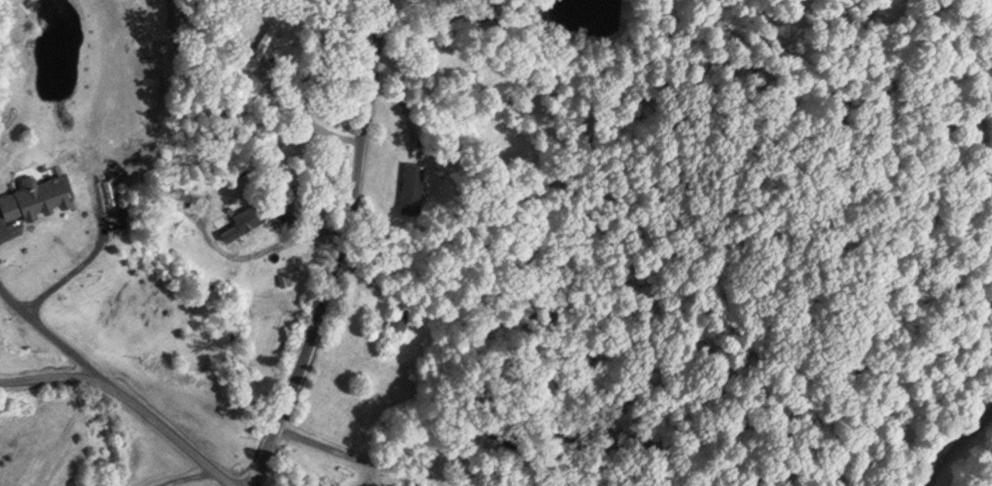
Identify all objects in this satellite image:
building: (264, 39)
road: (304, 121)
building: (412, 184)
building: (33, 192)
building: (242, 219)
road: (270, 243)
road: (341, 249)
road: (45, 294)
road: (14, 299)
building: (398, 314)
road: (132, 395)
road: (958, 443)
road: (349, 460)
road: (184, 474)

